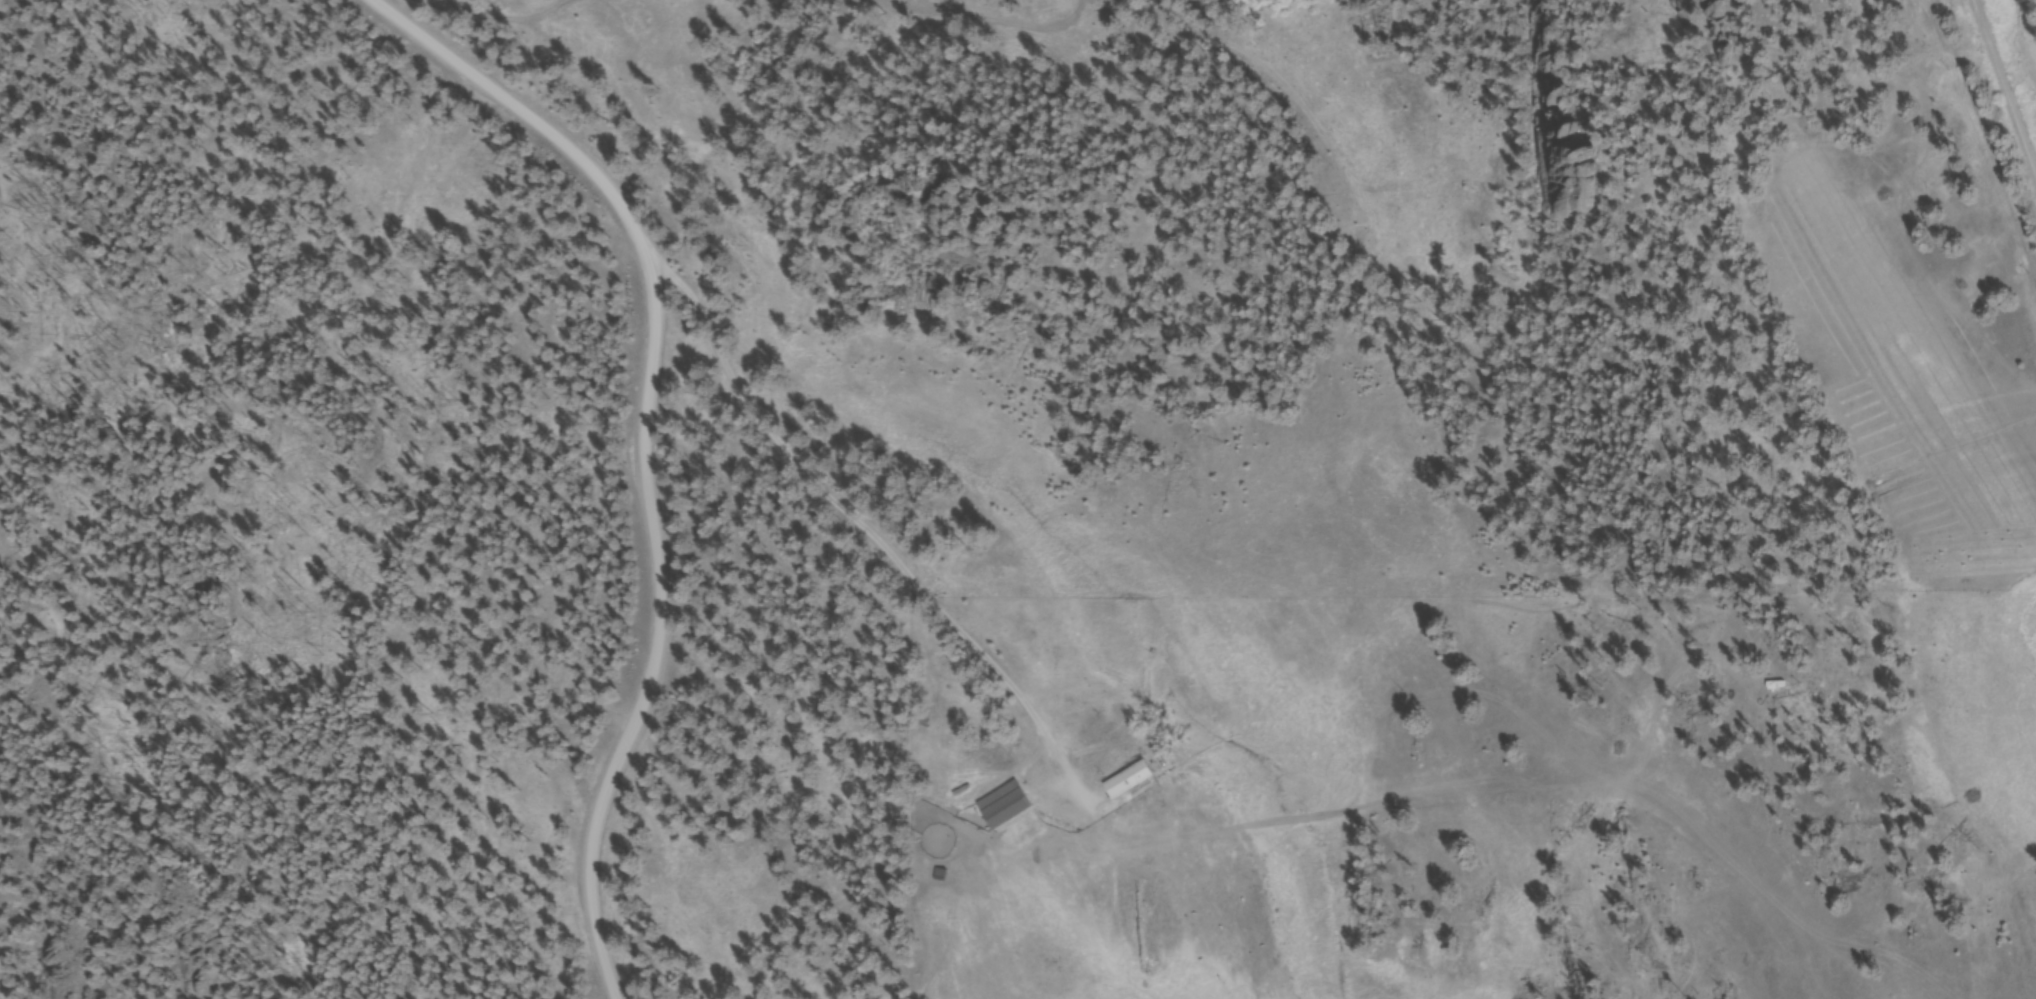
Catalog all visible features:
road: (2006, 82)
road: (642, 447)
road: (859, 527)
building: (1131, 783)
building: (1006, 807)

